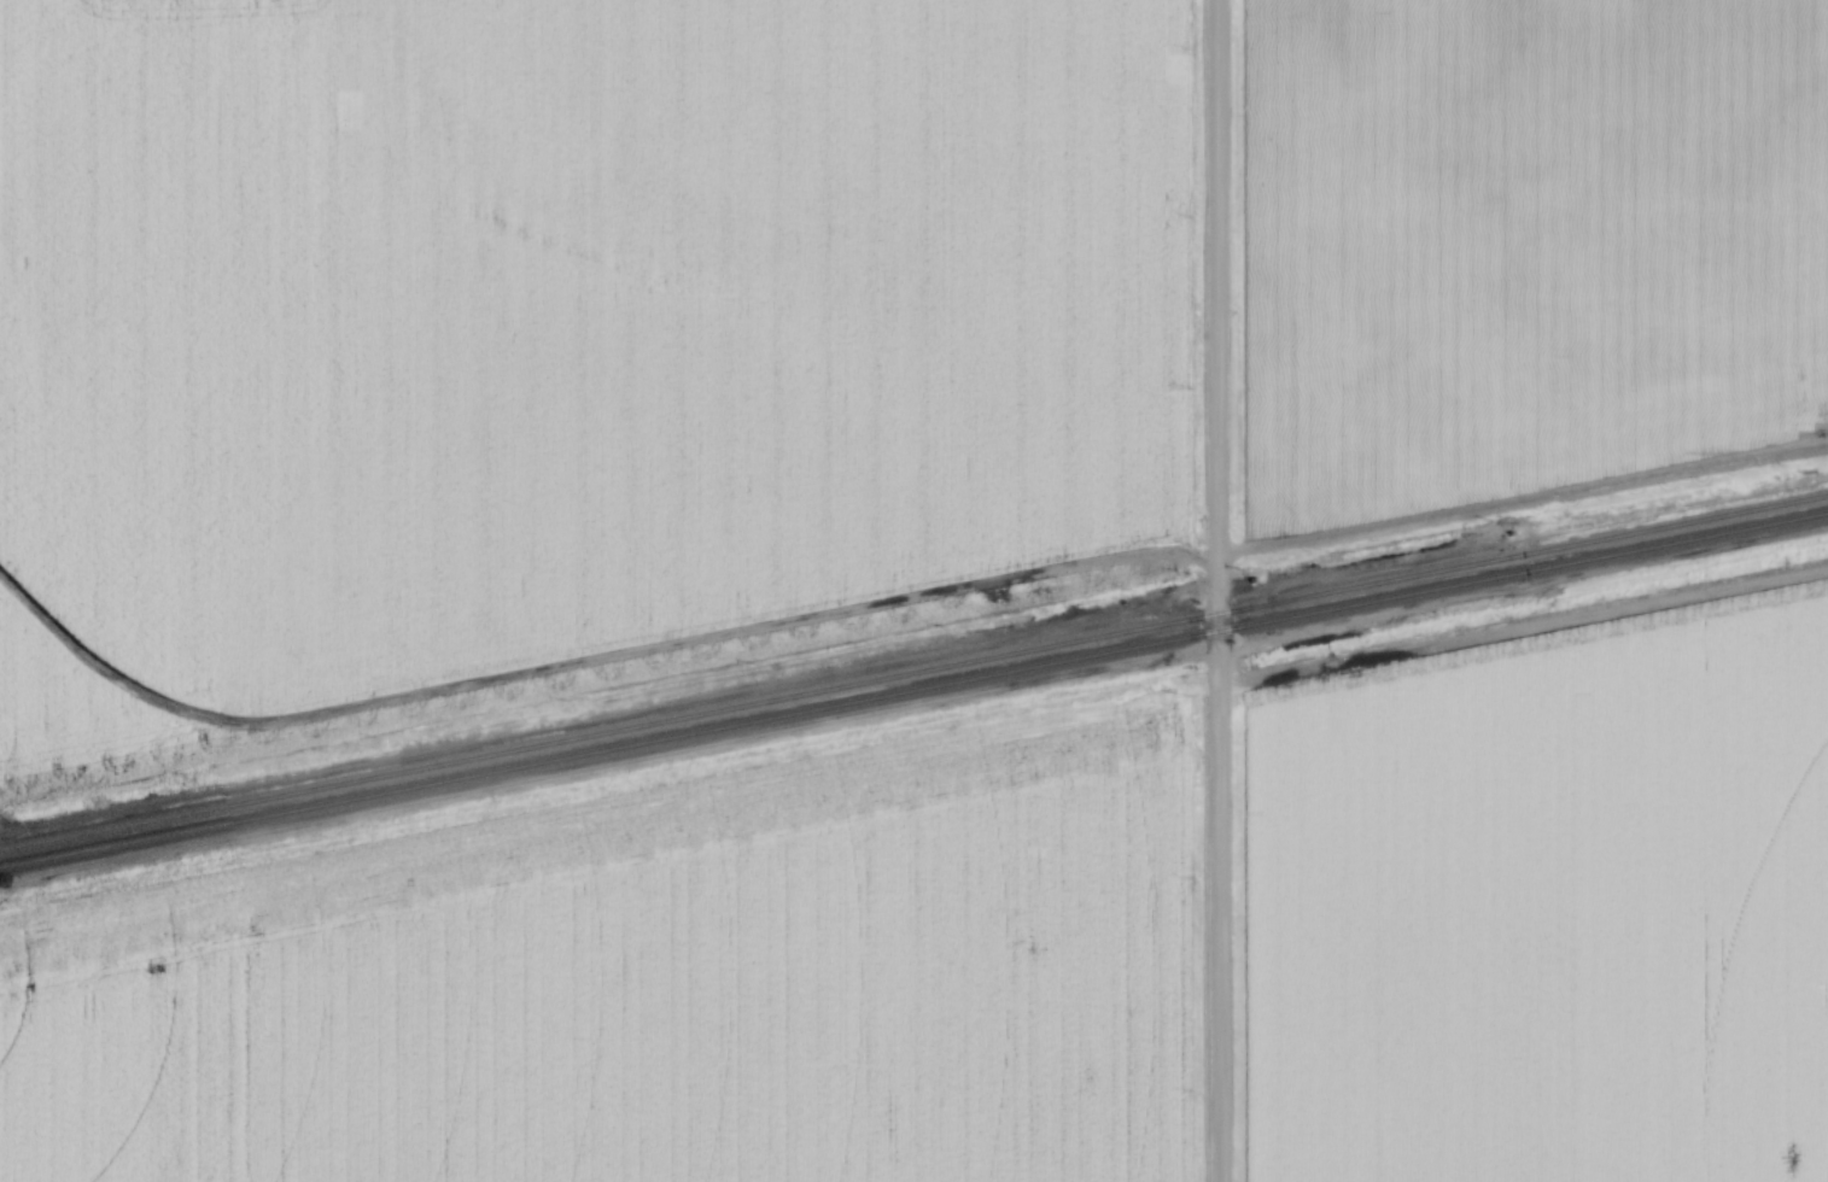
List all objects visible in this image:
crop: (1518, 246)
crop: (568, 320)
road: (1529, 501)
road: (1227, 591)
railway: (913, 666)
railway: (913, 687)
crop: (60, 714)

